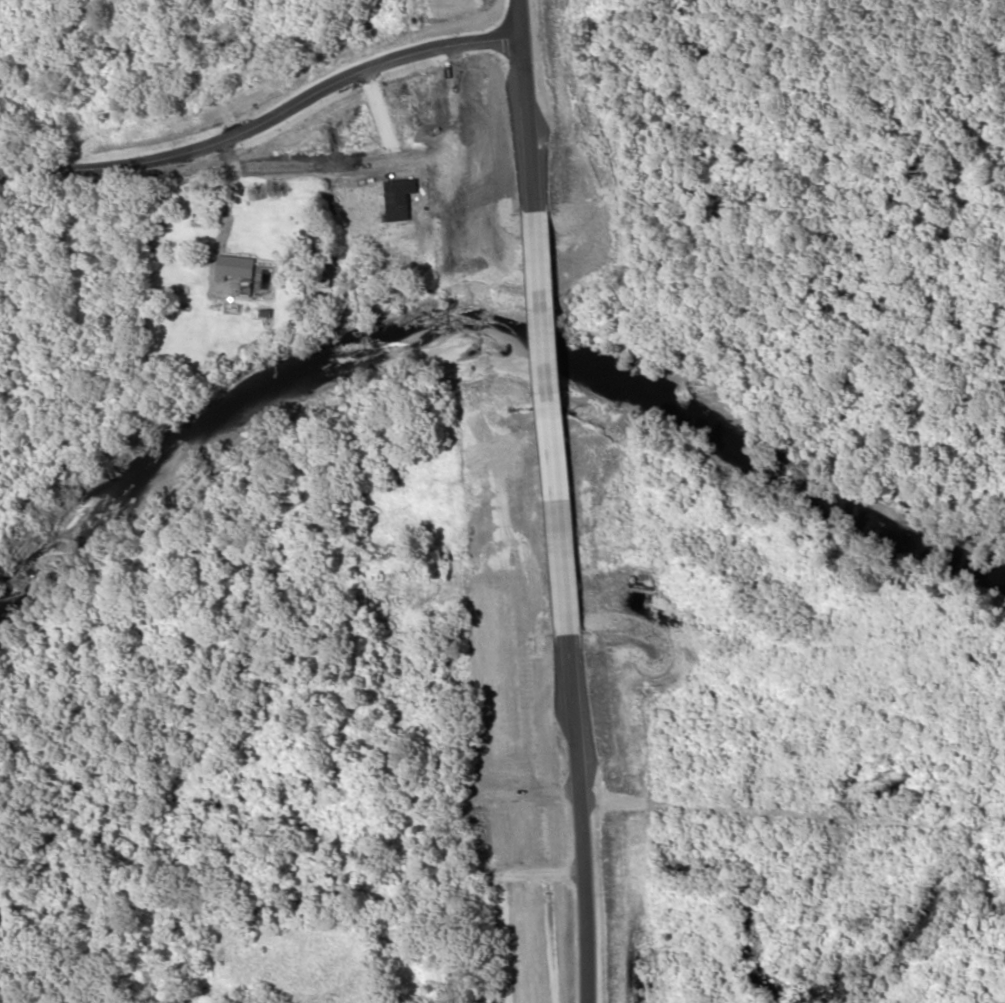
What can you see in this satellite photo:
road: (348, 97)
building: (221, 102)
road: (789, 189)
road: (238, 200)
building: (401, 200)
building: (236, 267)
road: (498, 501)
road: (780, 822)

